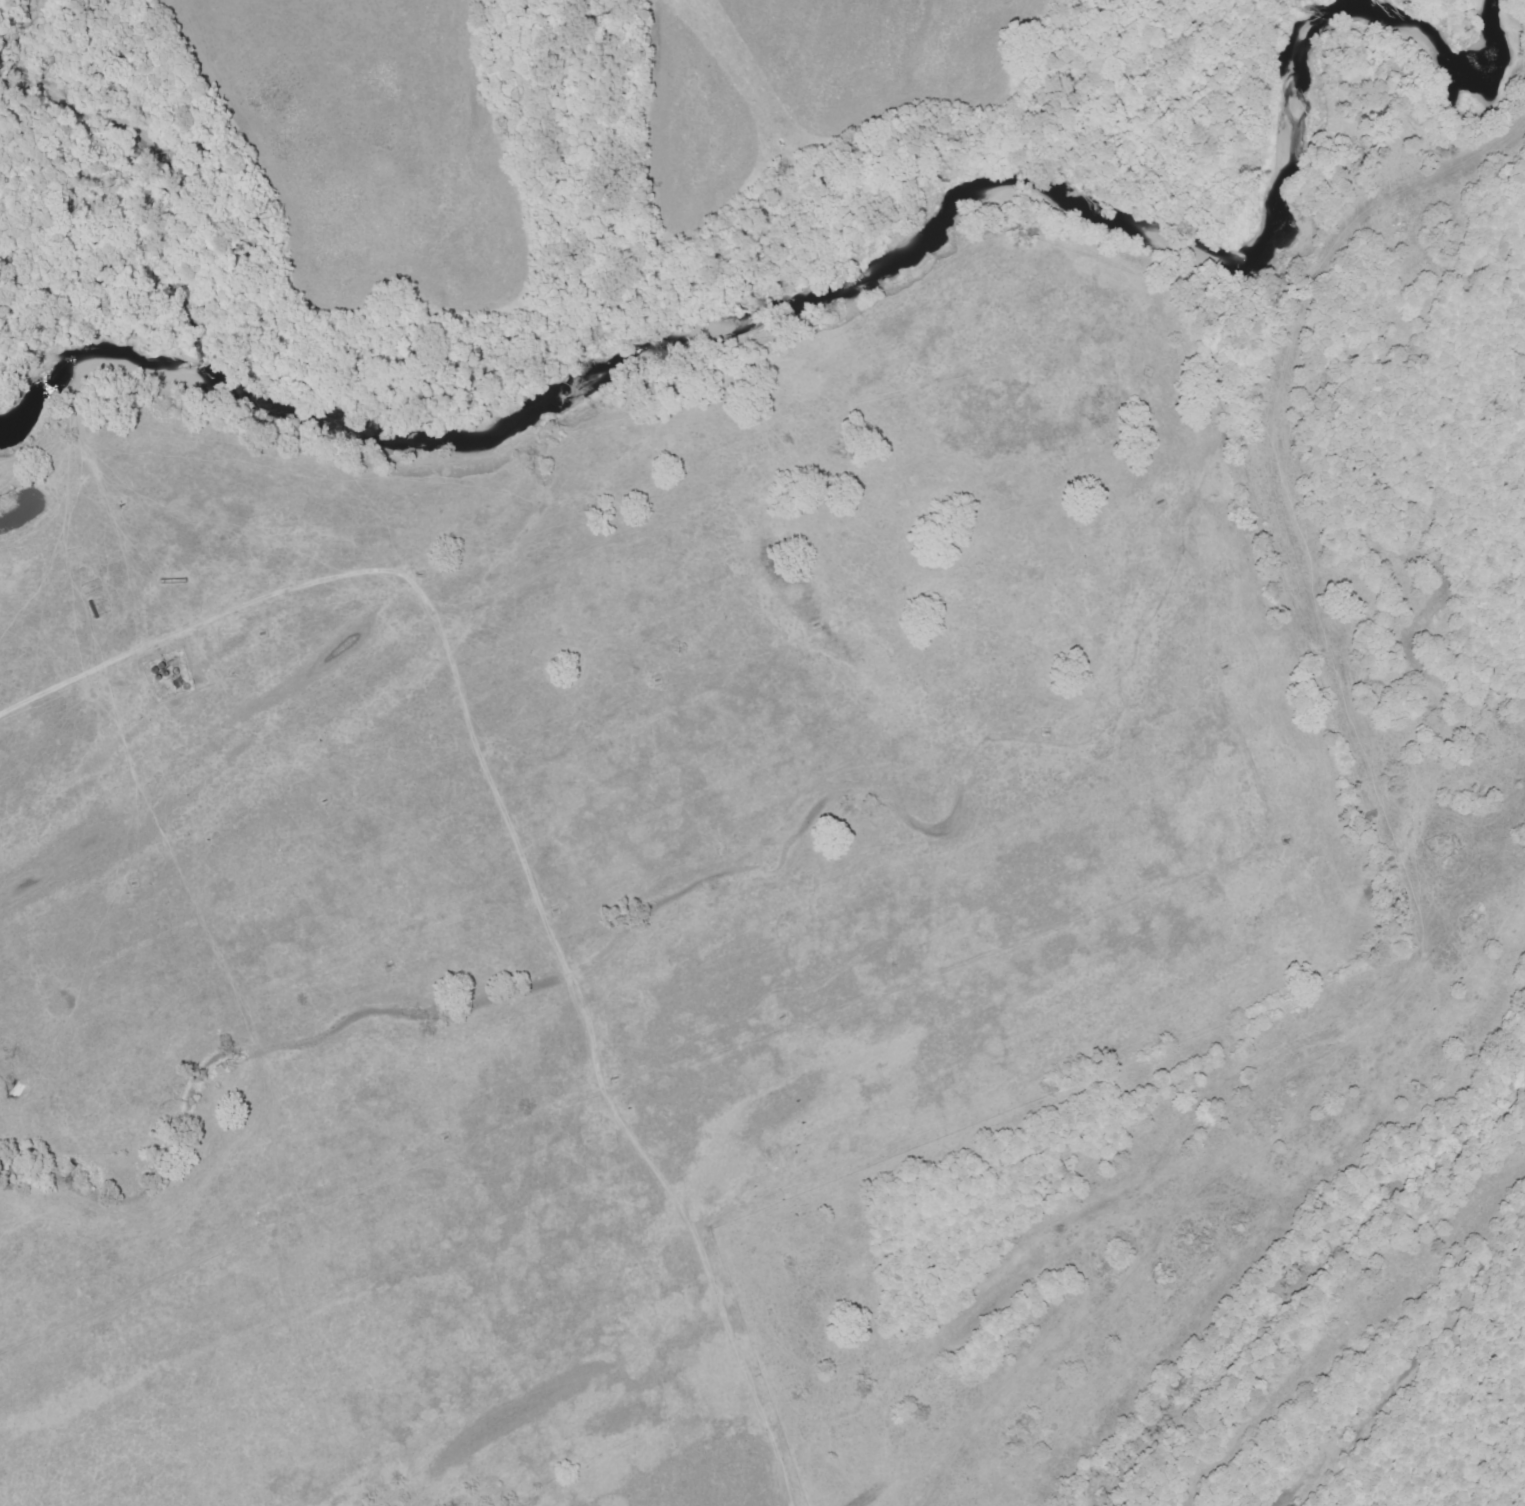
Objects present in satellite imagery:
river: (879, 254)

